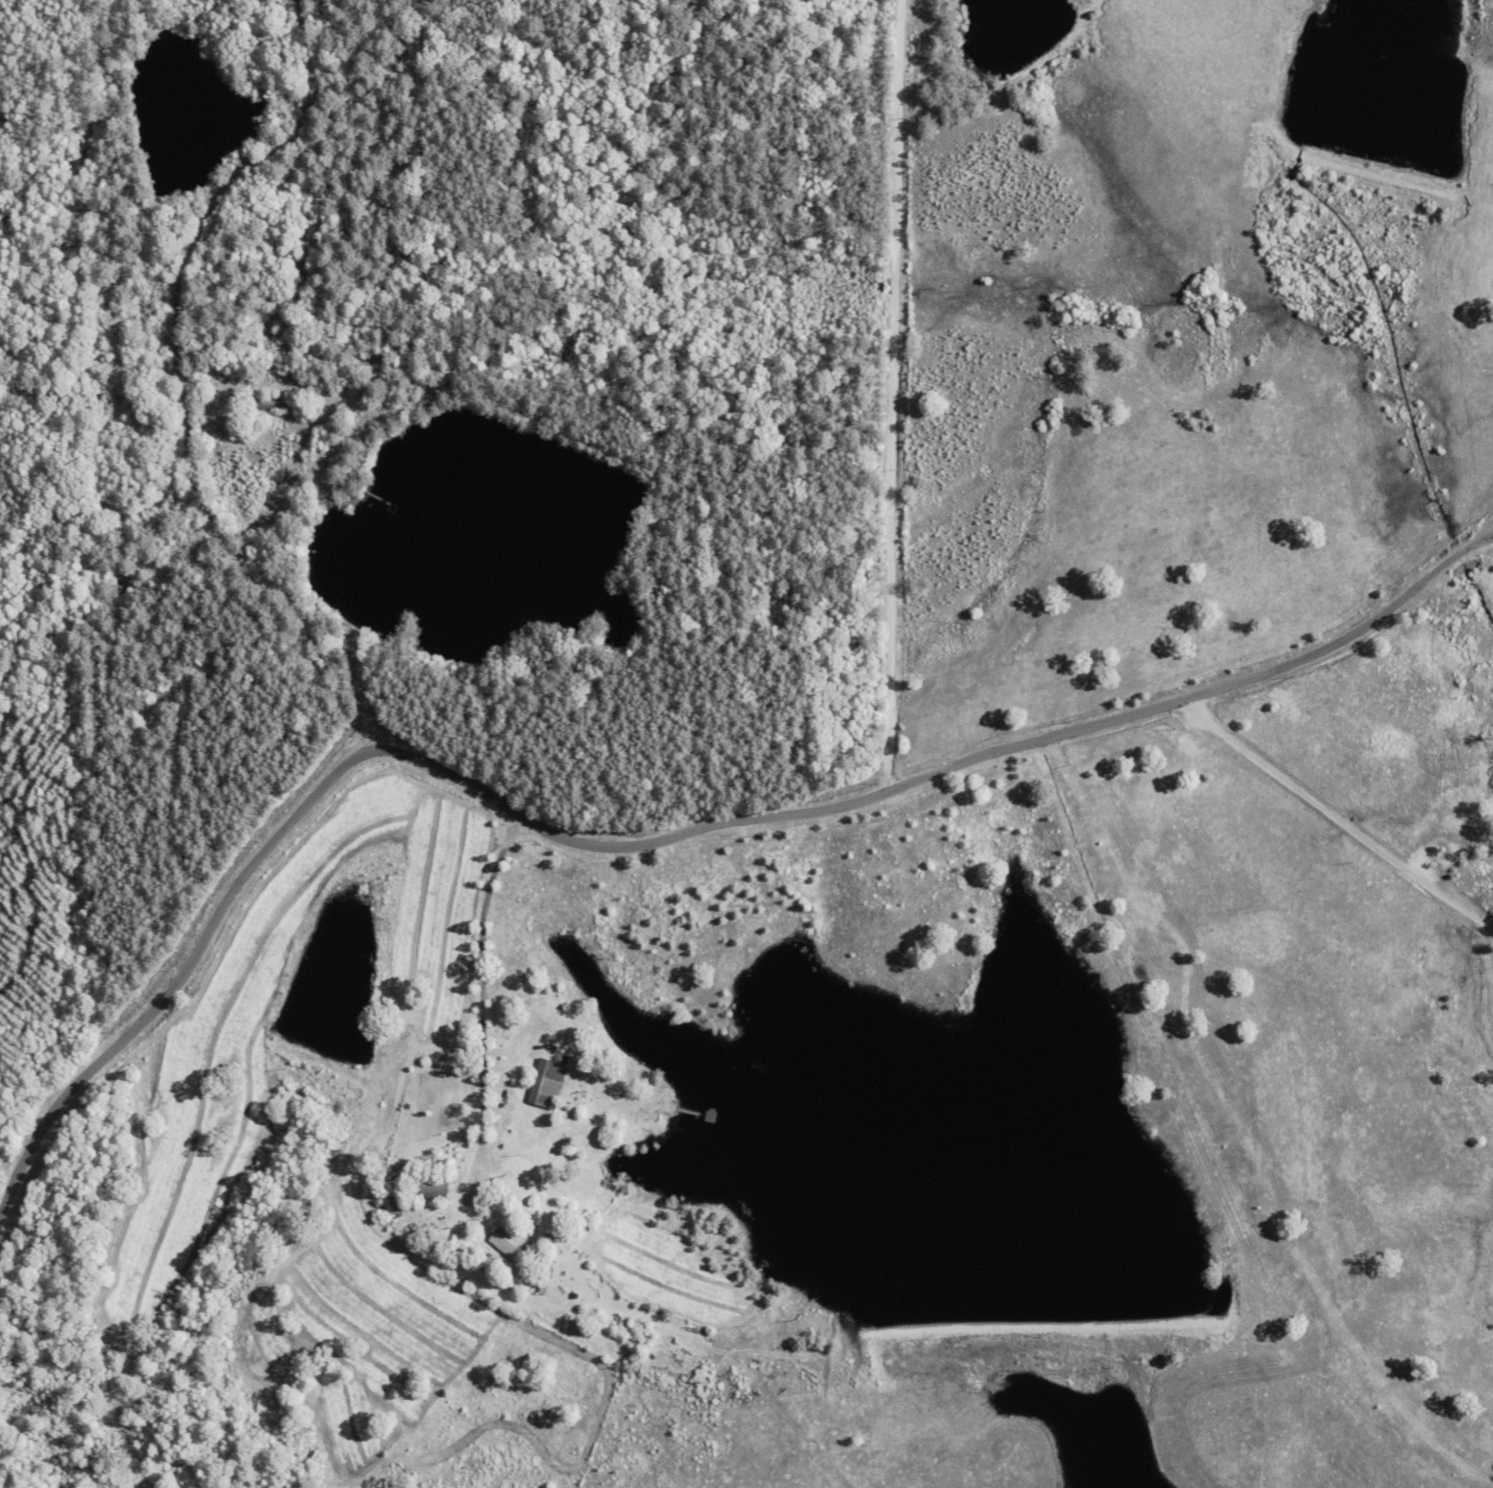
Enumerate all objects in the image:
road: (651, 841)
building: (539, 1081)
building: (426, 1189)

